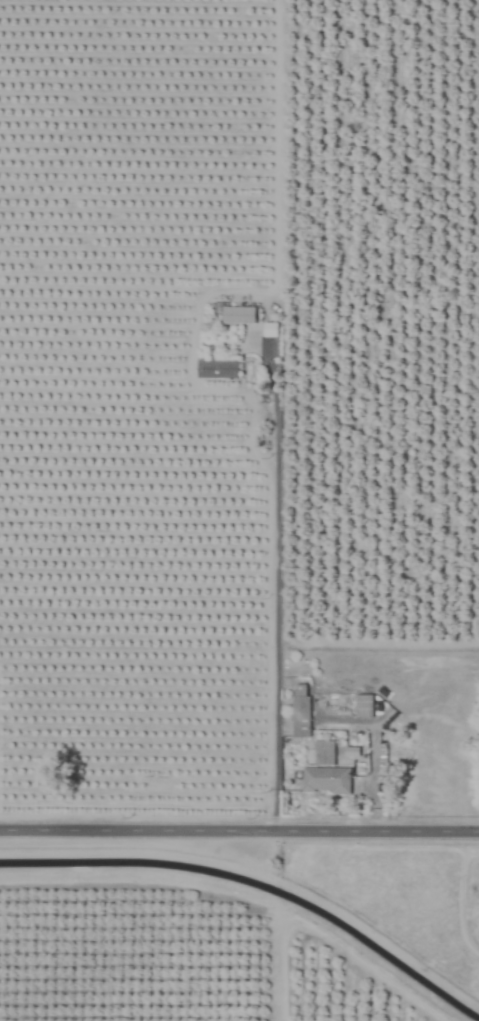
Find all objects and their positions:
building: (237, 315)
building: (217, 368)
road: (275, 580)
building: (363, 705)
building: (300, 712)
building: (323, 753)
building: (325, 781)
road: (239, 830)

